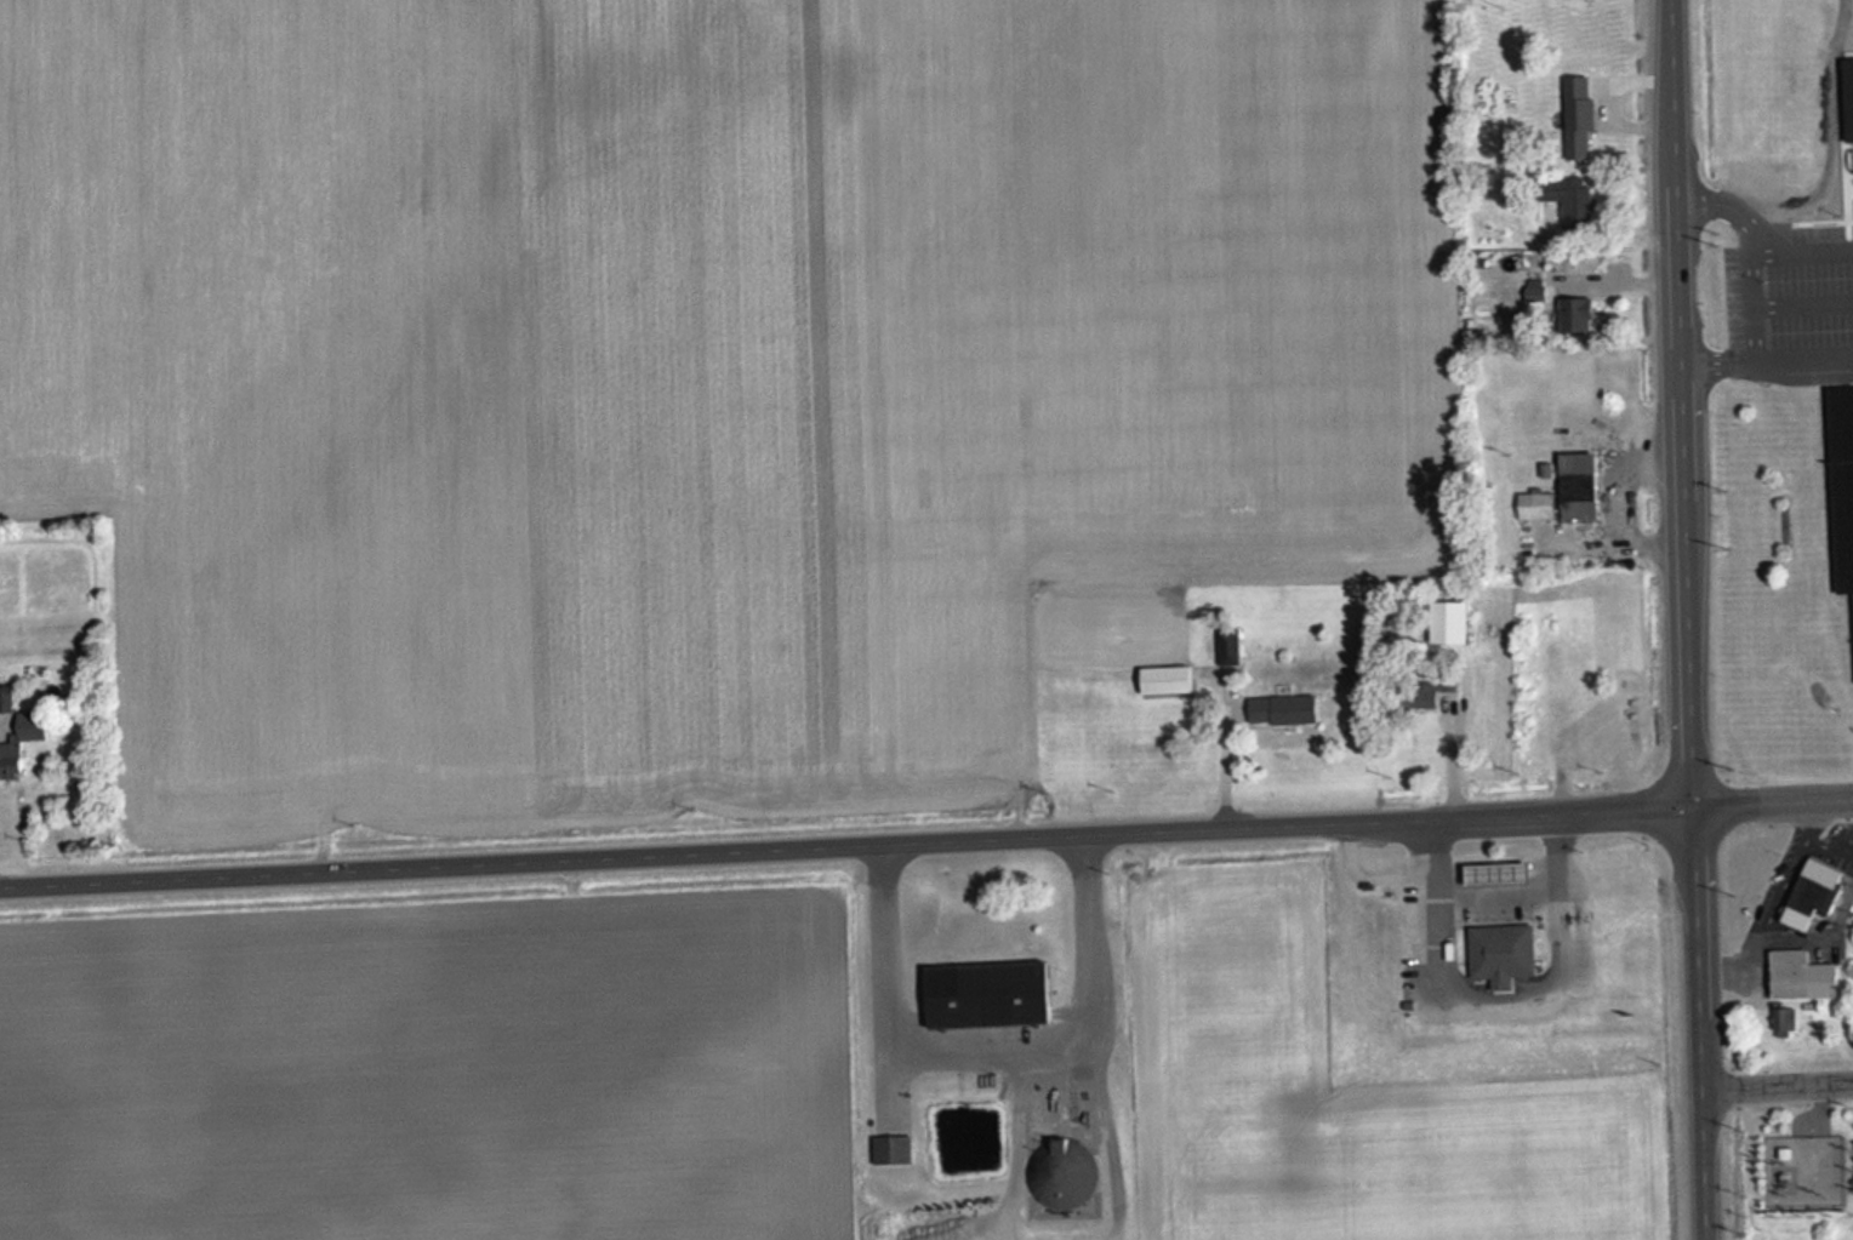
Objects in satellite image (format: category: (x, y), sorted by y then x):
building: (1577, 205)
building: (1574, 315)
building: (1841, 481)
building: (1578, 486)
building: (1535, 505)
road: (1686, 619)
building: (1443, 623)
building: (1164, 680)
building: (1421, 693)
building: (6, 699)
building: (1282, 709)
building: (10, 762)
road: (1772, 798)
road: (845, 842)
building: (1492, 873)
building: (1808, 895)
building: (1499, 952)
building: (1798, 975)
building: (986, 994)
building: (1783, 1018)
road: (1777, 1078)
building: (891, 1149)
building: (1060, 1179)

